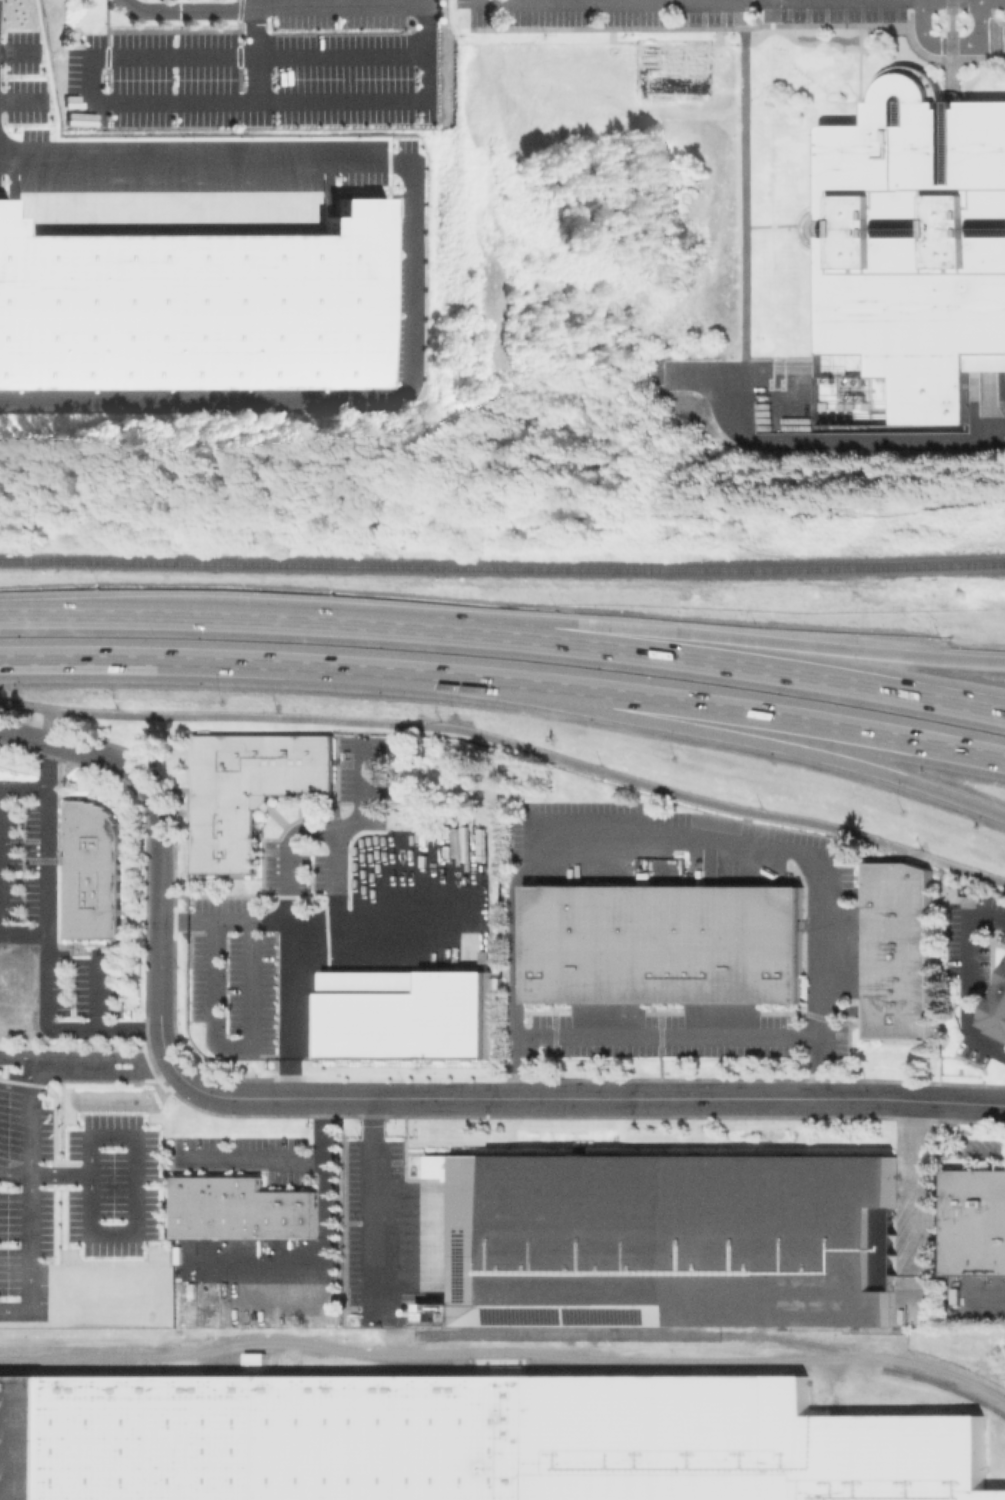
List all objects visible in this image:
road: (751, 0)
road: (769, 0)
road: (656, 1)
road: (907, 3)
road: (280, 8)
road: (990, 9)
parking lot: (750, 19)
road: (978, 21)
road: (999, 21)
road: (992, 37)
road: (932, 41)
road: (949, 43)
road: (991, 43)
road: (913, 45)
road: (21, 50)
road: (255, 50)
road: (261, 54)
road: (24, 101)
road: (284, 101)
road: (745, 185)
road: (771, 225)
building: (912, 251)
road: (412, 276)
park: (606, 279)
building: (194, 306)
road: (804, 441)
railway: (502, 561)
road: (505, 628)
road: (795, 648)
road: (294, 665)
road: (44, 725)
road: (796, 725)
road: (20, 733)
road: (510, 746)
road: (797, 754)
building: (253, 791)
road: (368, 799)
road: (336, 832)
road: (159, 839)
road: (672, 841)
road: (2, 861)
building: (94, 872)
building: (967, 896)
road: (405, 916)
road: (50, 937)
road: (291, 943)
building: (662, 944)
building: (898, 950)
road: (971, 979)
road: (102, 994)
building: (996, 1011)
building: (404, 1015)
road: (674, 1038)
road: (237, 1047)
road: (126, 1057)
road: (158, 1062)
road: (69, 1065)
road: (126, 1073)
road: (17, 1083)
road: (556, 1098)
road: (957, 1148)
road: (252, 1158)
road: (17, 1172)
road: (63, 1174)
road: (911, 1176)
road: (35, 1184)
road: (374, 1204)
building: (243, 1212)
building: (974, 1221)
road: (137, 1235)
building: (668, 1240)
road: (323, 1244)
railway: (687, 1332)
railway: (506, 1369)
building: (468, 1440)

